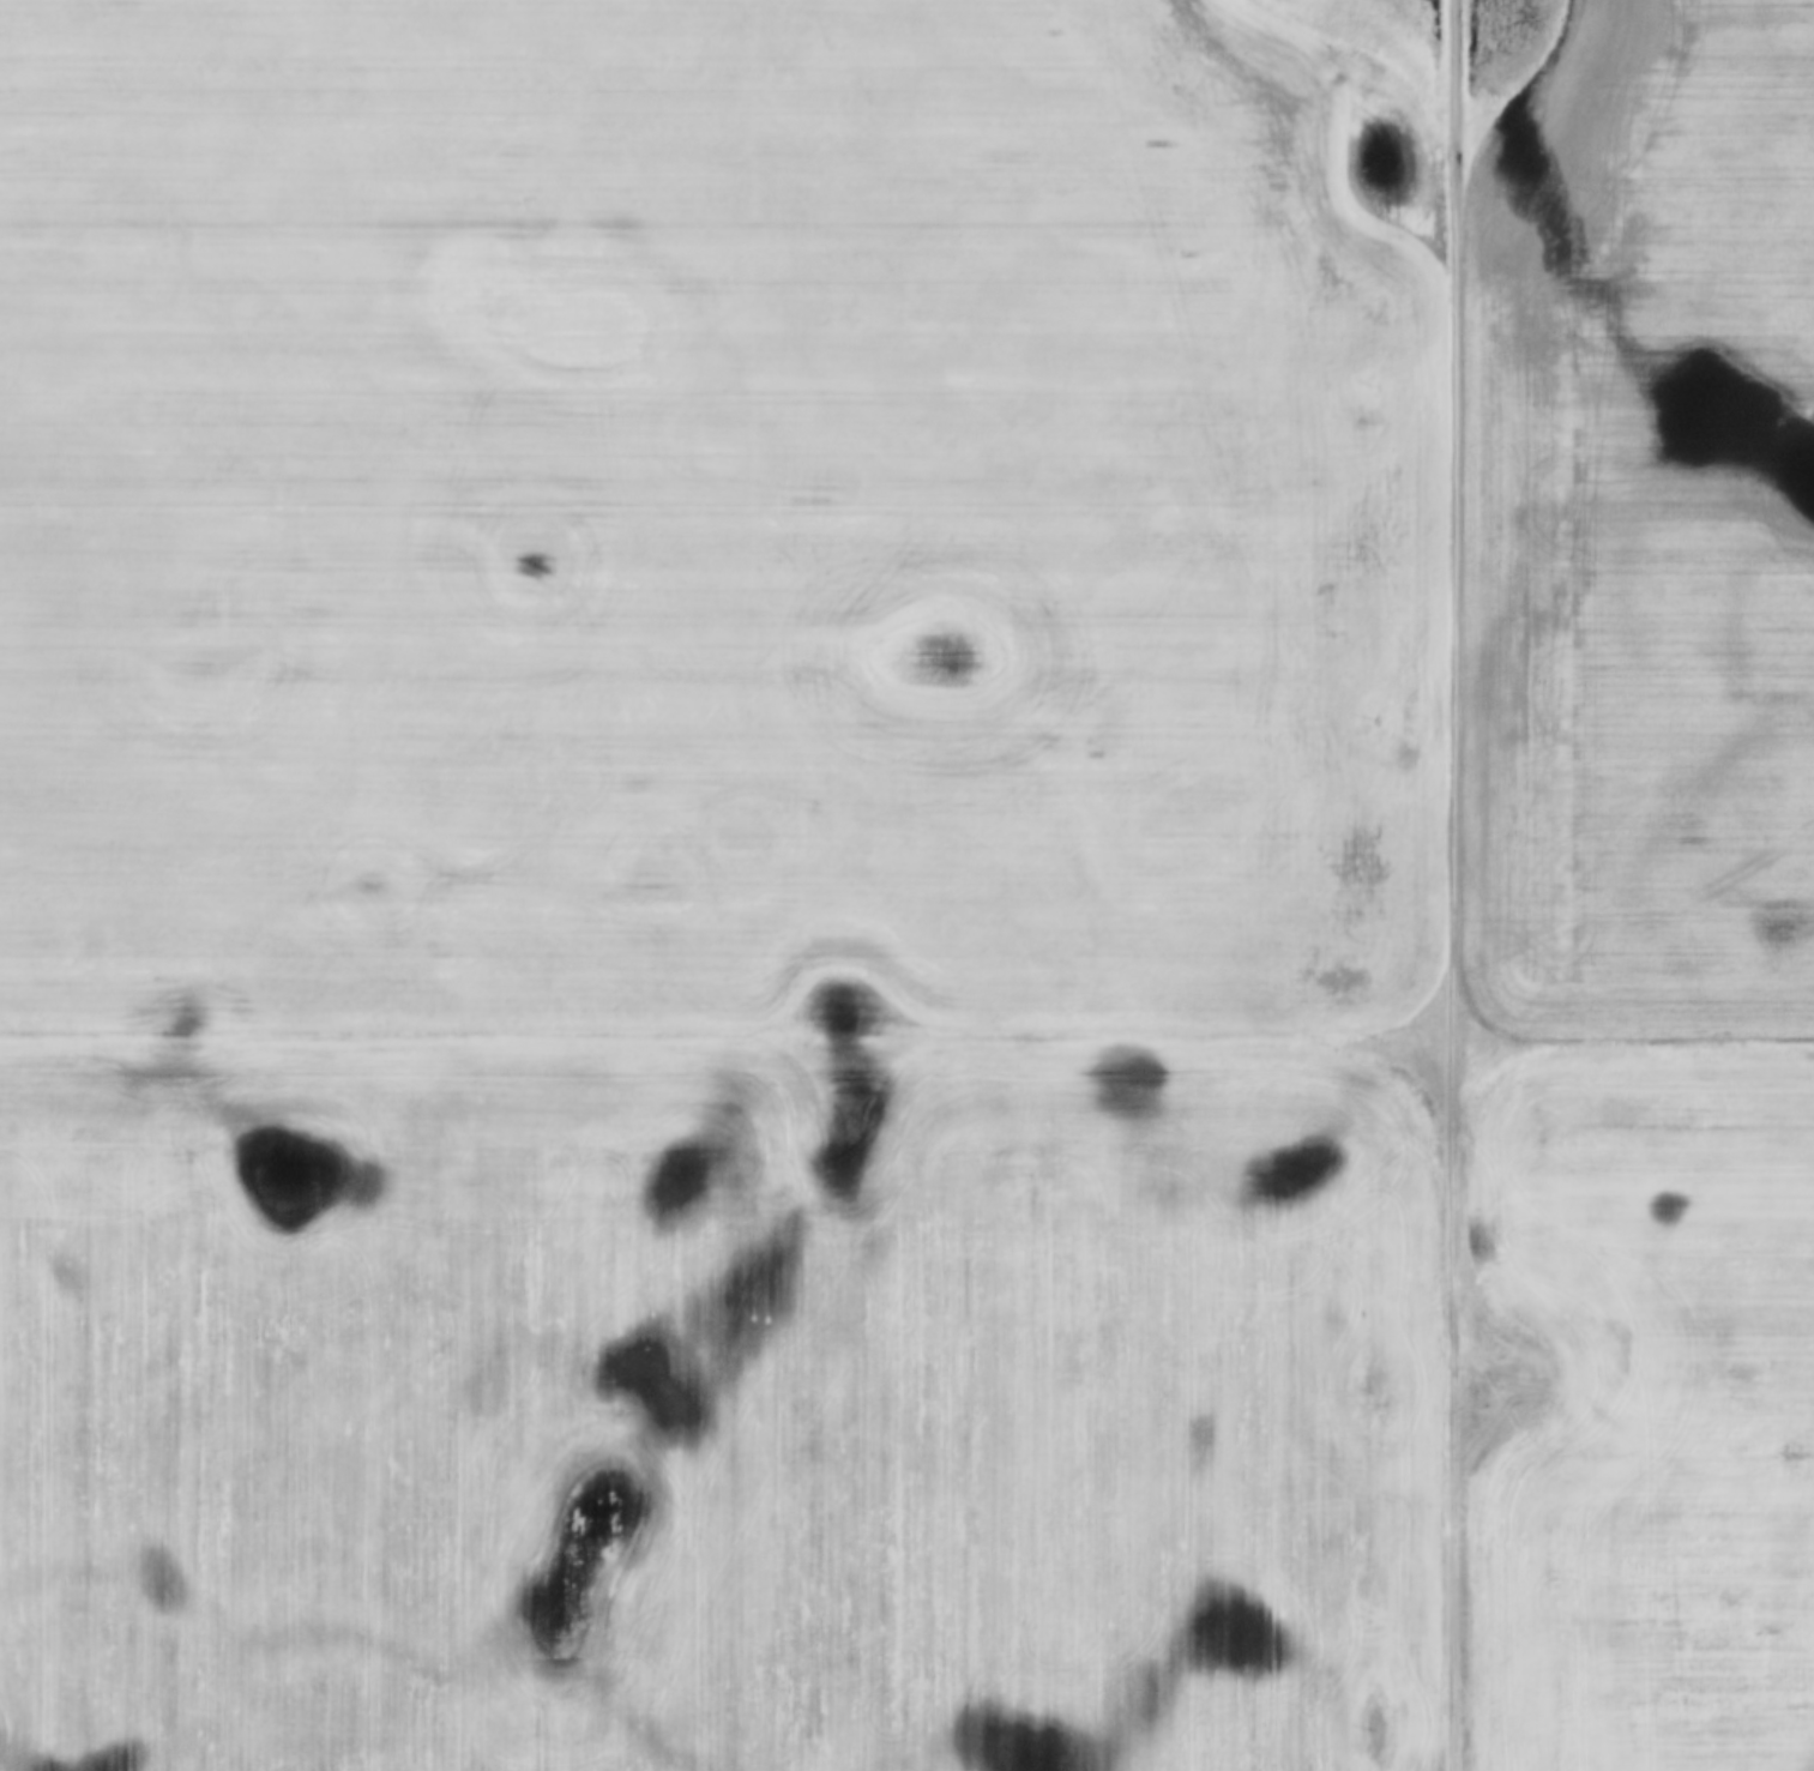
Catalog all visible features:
road: (1454, 885)

